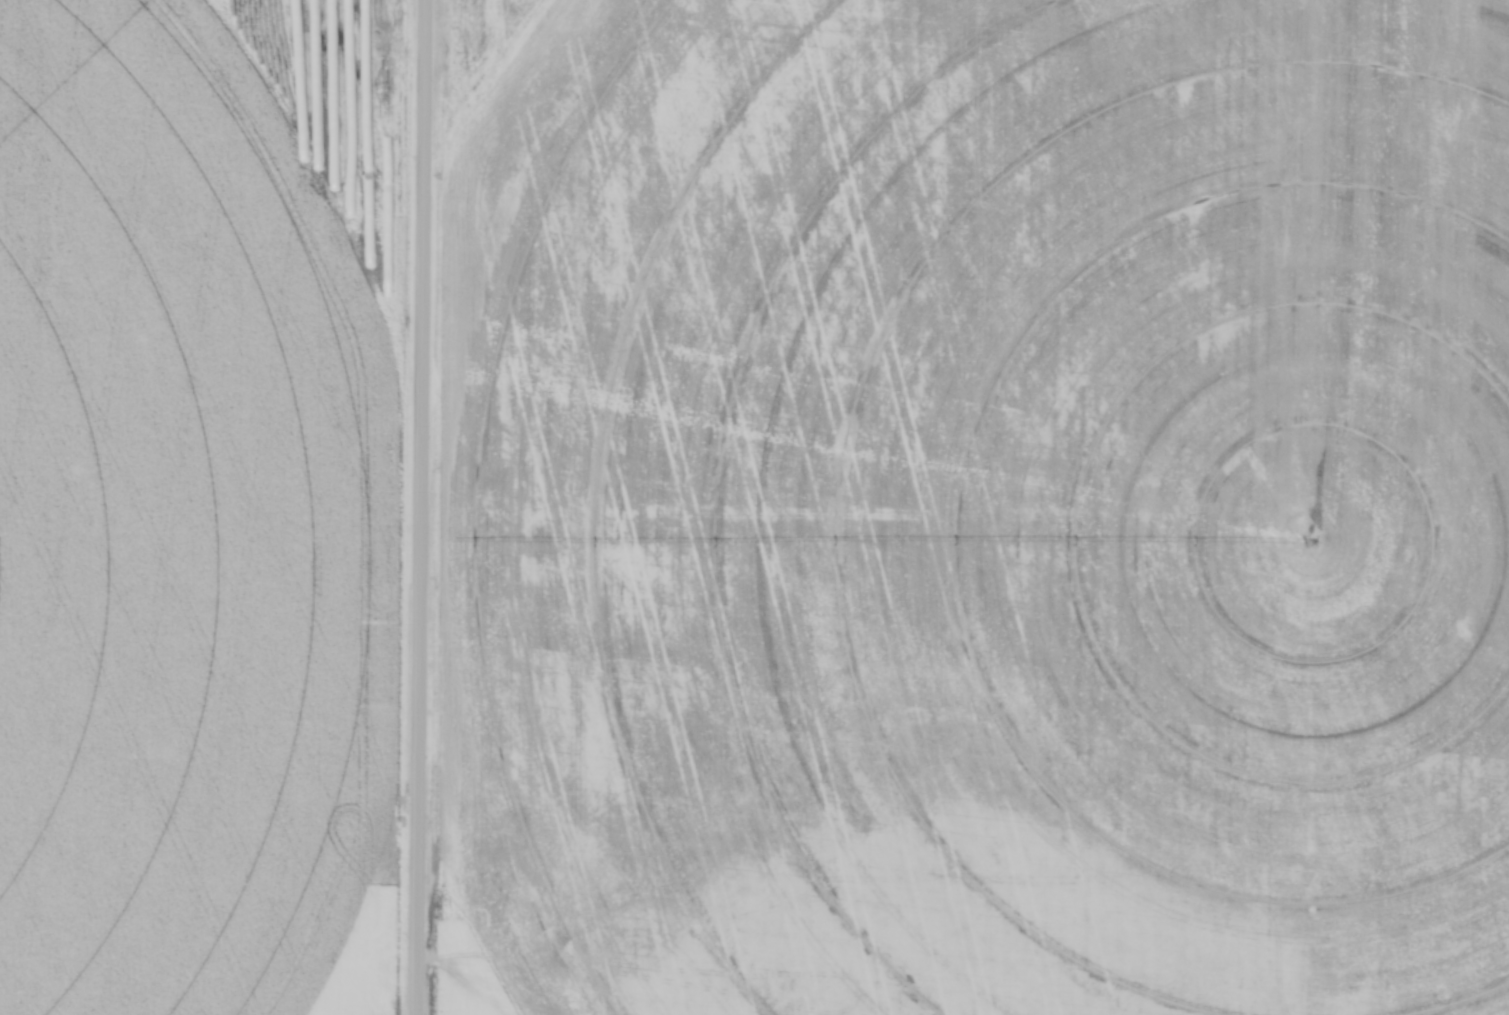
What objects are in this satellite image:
road: (423, 507)

